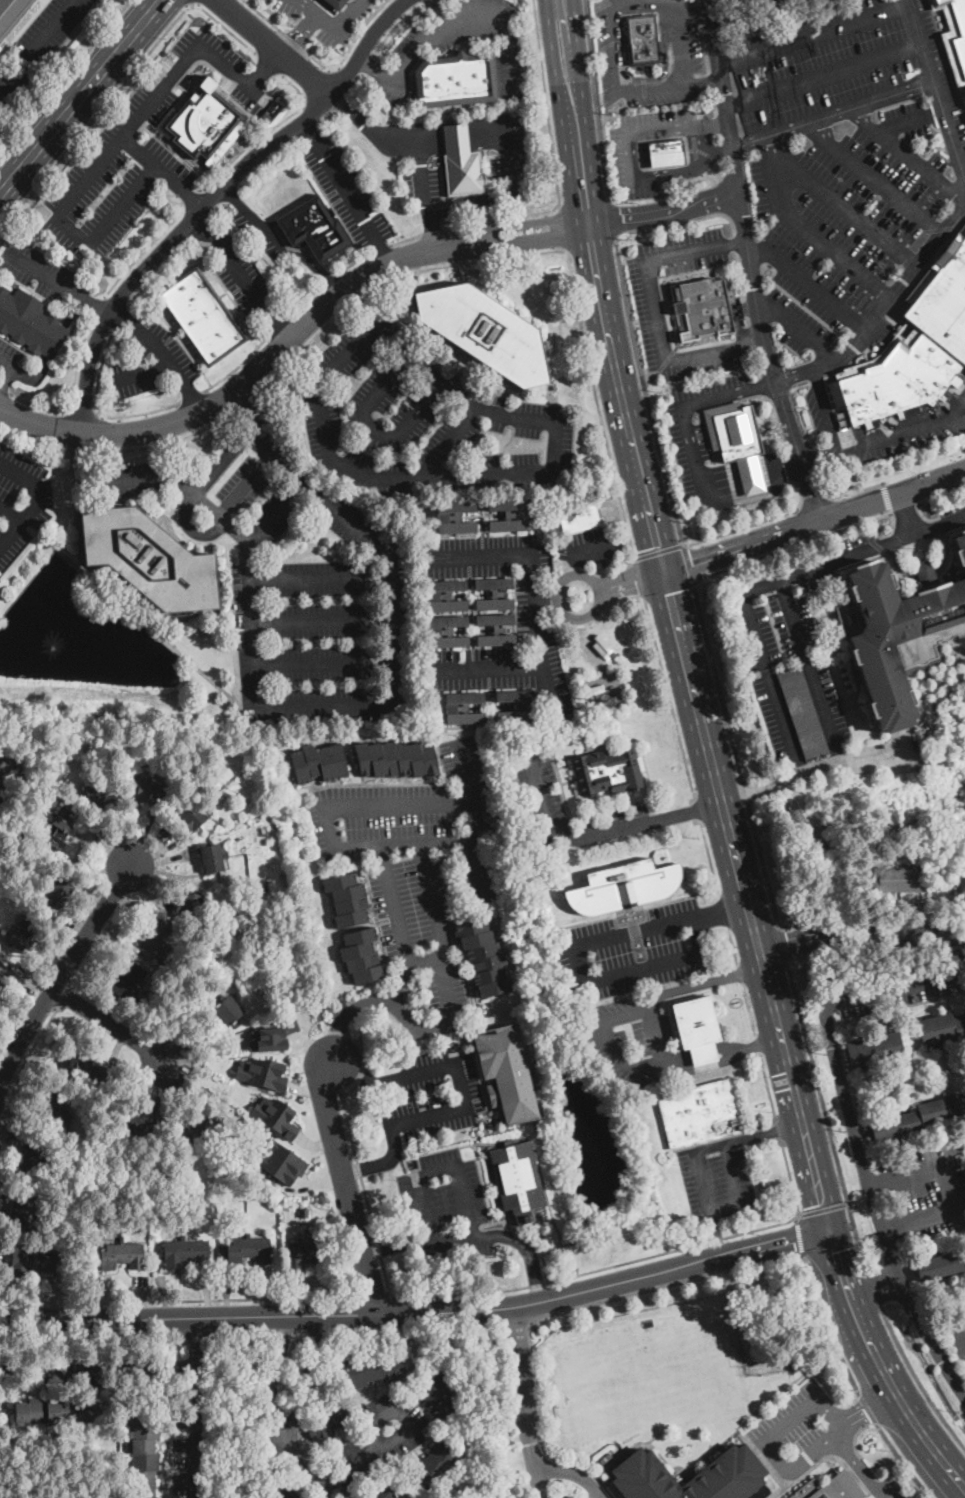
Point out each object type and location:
parking lot: (266, 1)
road: (424, 1)
road: (199, 2)
building: (338, 3)
road: (637, 5)
road: (691, 7)
road: (334, 9)
road: (698, 9)
road: (555, 10)
road: (557, 10)
road: (562, 10)
building: (11, 14)
road: (439, 14)
road: (262, 15)
road: (477, 17)
parking lot: (315, 19)
road: (203, 23)
road: (393, 26)
road: (23, 28)
road: (334, 28)
road: (298, 31)
road: (814, 32)
road: (356, 34)
building: (954, 36)
building: (645, 39)
road: (293, 42)
road: (35, 43)
parking lot: (37, 45)
road: (704, 45)
parking lot: (691, 46)
building: (0, 48)
road: (275, 48)
parking lot: (611, 51)
parking lot: (409, 54)
road: (317, 61)
road: (267, 63)
road: (368, 64)
road: (265, 68)
road: (379, 70)
road: (567, 70)
road: (346, 72)
parking lot: (233, 73)
road: (824, 74)
road: (63, 76)
road: (648, 76)
building: (455, 80)
road: (709, 80)
road: (354, 81)
road: (703, 81)
road: (119, 84)
road: (314, 84)
road: (936, 84)
road: (617, 88)
road: (79, 95)
road: (596, 99)
road: (341, 101)
road: (714, 101)
road: (547, 102)
building: (274, 105)
building: (271, 109)
road: (833, 113)
building: (267, 117)
road: (325, 117)
road: (715, 124)
building: (205, 125)
road: (368, 129)
road: (264, 130)
road: (307, 131)
road: (460, 136)
building: (456, 138)
building: (924, 146)
road: (718, 149)
road: (702, 150)
parking lot: (508, 151)
road: (540, 151)
building: (668, 153)
road: (907, 154)
parking lot: (620, 155)
road: (267, 159)
parking lot: (832, 166)
road: (717, 169)
road: (635, 172)
building: (463, 173)
road: (84, 177)
road: (423, 177)
road: (172, 178)
road: (874, 178)
parking lot: (420, 184)
parking lot: (108, 188)
parking lot: (345, 189)
road: (231, 192)
road: (346, 193)
road: (501, 195)
road: (213, 197)
road: (720, 197)
road: (191, 198)
road: (196, 199)
road: (836, 204)
road: (214, 209)
road: (664, 214)
road: (503, 217)
road: (611, 219)
road: (524, 224)
road: (198, 227)
road: (563, 227)
building: (314, 228)
road: (431, 231)
road: (432, 231)
road: (733, 237)
road: (821, 238)
road: (404, 239)
road: (527, 241)
road: (279, 244)
road: (378, 248)
road: (141, 252)
road: (471, 261)
road: (351, 262)
road: (747, 264)
parking lot: (36, 268)
road: (158, 268)
road: (44, 273)
road: (326, 277)
parking lot: (243, 278)
road: (241, 279)
road: (809, 281)
road: (370, 292)
road: (377, 298)
road: (301, 300)
road: (663, 302)
road: (96, 305)
road: (98, 305)
building: (703, 307)
road: (884, 308)
road: (74, 309)
road: (653, 309)
parking lot: (640, 312)
road: (120, 313)
building: (202, 317)
building: (31, 324)
road: (274, 325)
road: (797, 328)
building: (485, 332)
road: (56, 341)
road: (182, 343)
road: (306, 343)
building: (916, 344)
road: (610, 348)
road: (167, 353)
parking lot: (8, 356)
parking lot: (171, 357)
road: (664, 359)
road: (6, 361)
road: (77, 361)
road: (237, 365)
road: (143, 368)
road: (6, 376)
road: (33, 378)
road: (650, 378)
road: (245, 383)
road: (763, 385)
road: (800, 385)
parking lot: (708, 386)
road: (4, 389)
road: (645, 392)
road: (778, 392)
road: (191, 396)
road: (248, 401)
road: (687, 403)
road: (35, 404)
road: (597, 404)
parking lot: (819, 405)
road: (97, 408)
road: (261, 408)
road: (713, 409)
road: (826, 409)
road: (321, 410)
road: (83, 411)
building: (912, 411)
parking lot: (423, 421)
road: (776, 421)
road: (371, 426)
road: (0, 427)
building: (709, 430)
building: (736, 432)
road: (883, 436)
road: (446, 439)
road: (170, 440)
road: (36, 442)
parking lot: (685, 446)
road: (84, 451)
road: (222, 460)
road: (81, 464)
road: (790, 464)
building: (748, 473)
road: (750, 473)
parking lot: (129, 478)
road: (244, 482)
road: (856, 490)
road: (799, 493)
road: (941, 497)
road: (886, 498)
parking lot: (20, 501)
road: (34, 502)
road: (814, 502)
road: (904, 508)
road: (276, 510)
road: (905, 513)
parking lot: (953, 513)
road: (11, 514)
building: (509, 515)
road: (881, 516)
building: (455, 517)
building: (579, 518)
road: (815, 522)
road: (742, 528)
road: (190, 529)
road: (891, 531)
road: (683, 543)
road: (55, 546)
parking lot: (589, 546)
building: (960, 548)
road: (657, 550)
road: (781, 550)
road: (575, 553)
building: (148, 559)
road: (686, 562)
road: (923, 571)
building: (925, 572)
traffic signals: (665, 573)
road: (321, 576)
road: (637, 577)
road: (620, 584)
road: (763, 585)
parking lot: (308, 588)
road: (668, 591)
building: (496, 594)
building: (446, 596)
road: (554, 599)
road: (533, 612)
road: (322, 617)
parking lot: (534, 625)
building: (497, 629)
building: (447, 631)
building: (896, 636)
parking lot: (795, 655)
building: (615, 657)
road: (324, 663)
road: (811, 671)
road: (716, 681)
road: (213, 683)
road: (546, 686)
building: (594, 690)
road: (668, 698)
road: (320, 702)
building: (516, 706)
building: (463, 708)
building: (803, 713)
building: (506, 756)
building: (396, 759)
road: (712, 762)
building: (318, 763)
building: (6, 771)
building: (607, 771)
road: (781, 782)
building: (151, 792)
road: (744, 792)
building: (100, 795)
parking lot: (541, 797)
road: (697, 808)
road: (322, 809)
road: (687, 810)
building: (191, 813)
building: (924, 831)
building: (58, 832)
road: (566, 836)
parking lot: (406, 843)
road: (708, 857)
building: (919, 858)
building: (211, 859)
road: (763, 864)
road: (480, 871)
parking lot: (481, 874)
building: (901, 879)
building: (962, 881)
building: (623, 887)
building: (57, 892)
building: (347, 900)
road: (431, 900)
road: (395, 905)
road: (722, 906)
building: (187, 907)
road: (640, 907)
road: (723, 910)
road: (871, 916)
road: (861, 934)
building: (23, 935)
road: (615, 936)
building: (157, 939)
road: (732, 945)
road: (783, 945)
road: (960, 951)
parking lot: (633, 952)
building: (362, 956)
building: (484, 957)
road: (659, 964)
road: (739, 973)
road: (62, 974)
building: (3, 975)
building: (129, 980)
road: (708, 981)
road: (392, 985)
road: (892, 986)
parking lot: (902, 988)
parking lot: (445, 989)
road: (748, 1008)
building: (228, 1010)
building: (689, 1020)
road: (437, 1022)
road: (111, 1025)
building: (941, 1028)
building: (272, 1036)
road: (337, 1040)
parking lot: (629, 1041)
road: (756, 1042)
road: (756, 1043)
building: (874, 1049)
building: (698, 1052)
road: (621, 1054)
road: (696, 1056)
building: (82, 1065)
road: (21, 1066)
road: (457, 1066)
building: (262, 1071)
building: (505, 1073)
road: (354, 1083)
road: (766, 1086)
parking lot: (429, 1093)
building: (55, 1110)
building: (697, 1112)
building: (276, 1115)
building: (918, 1117)
road: (827, 1118)
building: (141, 1119)
building: (192, 1128)
road: (766, 1130)
road: (777, 1130)
building: (32, 1158)
building: (281, 1162)
road: (377, 1162)
building: (517, 1176)
parking lot: (715, 1177)
road: (418, 1178)
road: (789, 1179)
road: (345, 1187)
road: (951, 1188)
parking lot: (928, 1189)
parking lot: (443, 1191)
road: (365, 1192)
building: (117, 1202)
road: (708, 1204)
building: (163, 1205)
road: (876, 1205)
road: (822, 1209)
building: (25, 1212)
traffic signals: (825, 1229)
road: (715, 1231)
road: (826, 1236)
road: (798, 1238)
road: (398, 1245)
road: (829, 1250)
building: (249, 1251)
building: (184, 1252)
building: (305, 1253)
road: (529, 1254)
building: (123, 1256)
building: (32, 1261)
building: (940, 1265)
road: (595, 1268)
road: (870, 1281)
road: (875, 1289)
road: (373, 1295)
road: (179, 1299)
road: (879, 1299)
road: (559, 1310)
road: (417, 1311)
road: (826, 1325)
parking lot: (957, 1337)
road: (93, 1339)
road: (97, 1366)
building: (373, 1370)
park: (644, 1377)
road: (918, 1381)
building: (437, 1396)
road: (525, 1396)
road: (194, 1406)
road: (866, 1408)
road: (829, 1409)
road: (292, 1411)
building: (61, 1412)
building: (328, 1420)
parking lot: (806, 1434)
building: (266, 1445)
road: (372, 1452)
building: (144, 1456)
road: (802, 1459)
road: (901, 1460)
building: (734, 1462)
road: (859, 1466)
building: (433, 1467)
road: (569, 1473)
building: (830, 1488)
parking lot: (886, 1489)
building: (282, 1491)
building: (378, 1491)
road: (544, 1492)
parking lot: (599, 1494)
parking lot: (565, 1496)

